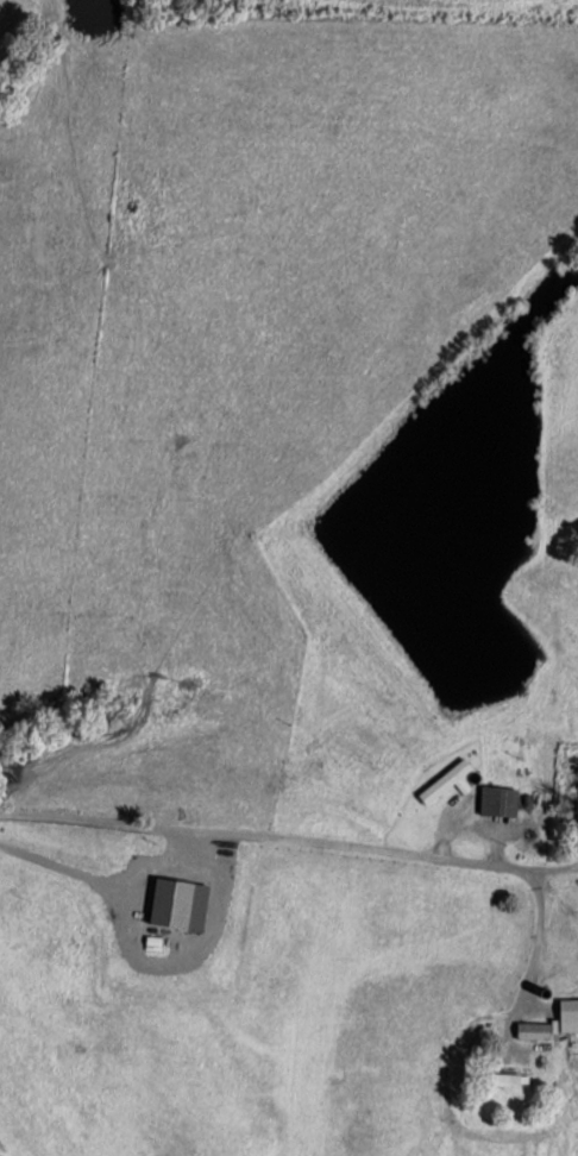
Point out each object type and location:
building: (497, 800)
building: (577, 802)
road: (327, 842)
building: (153, 886)
building: (551, 1016)
building: (513, 1081)

